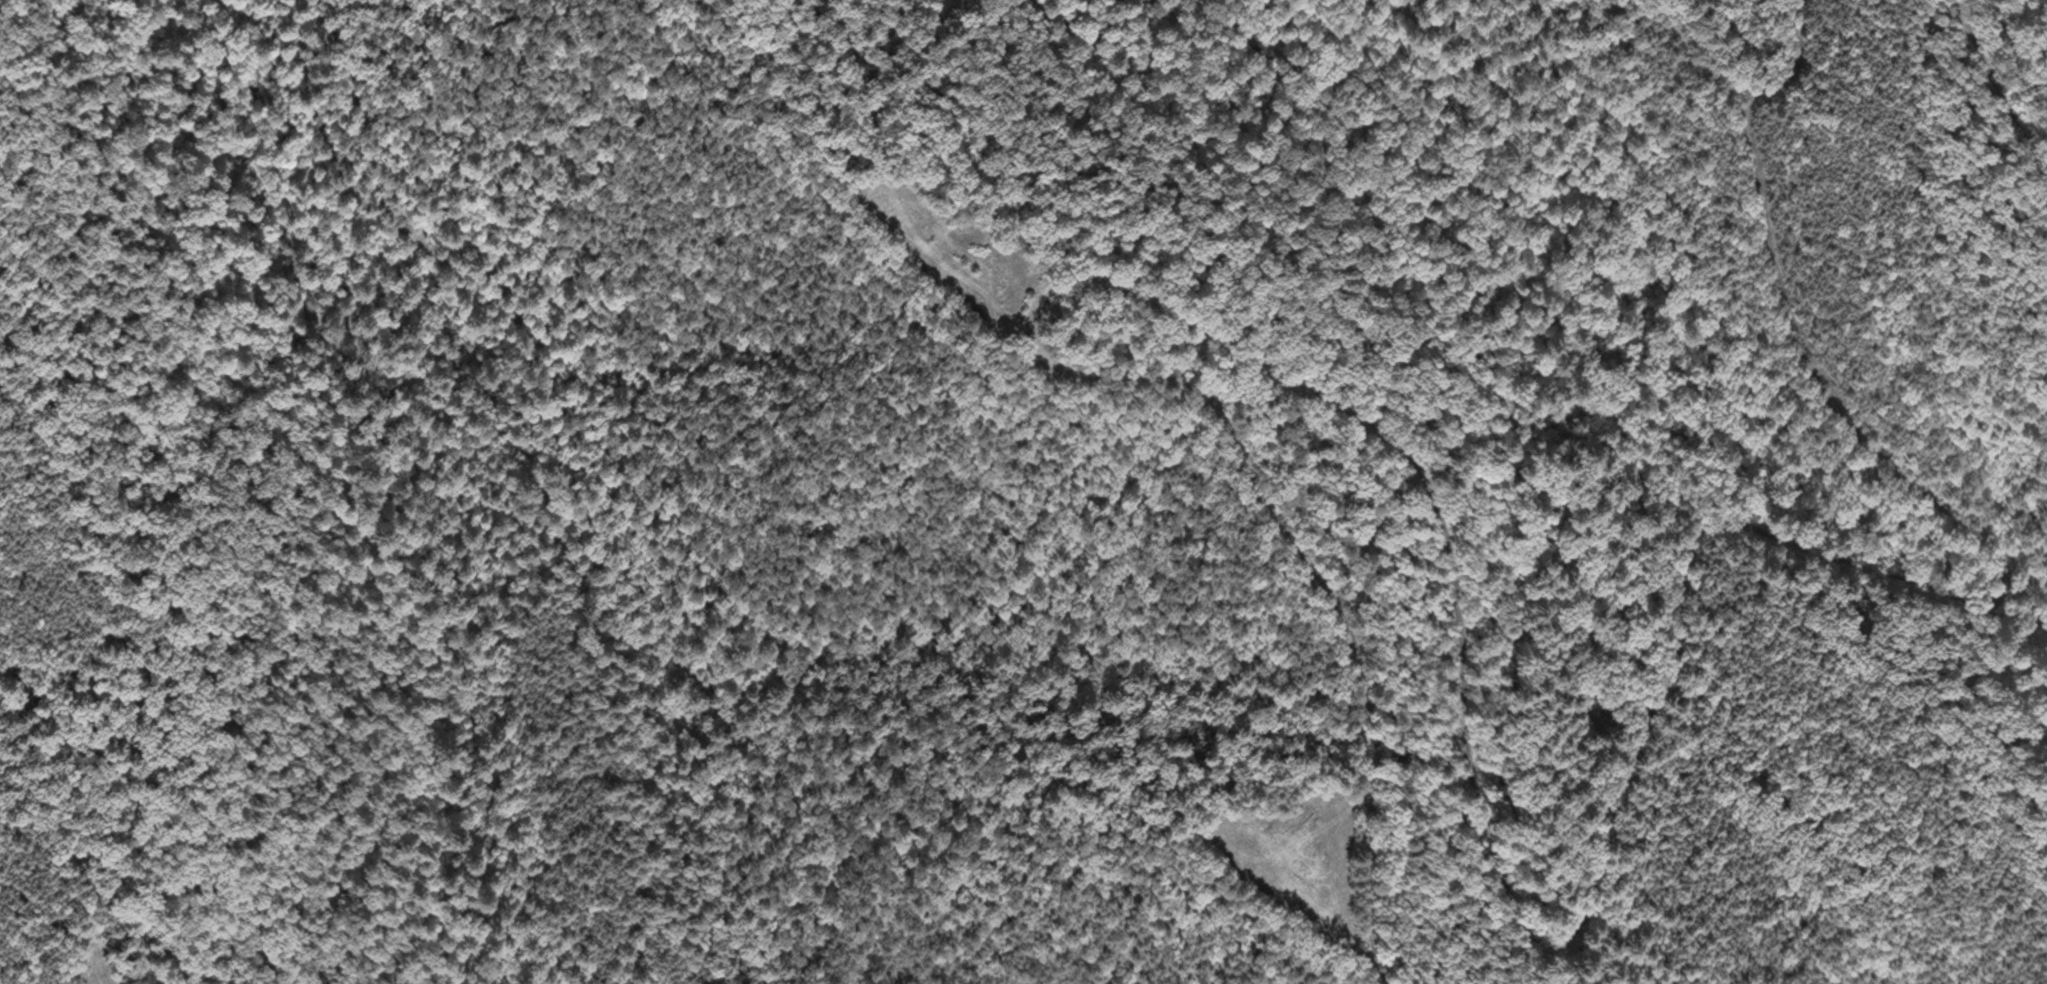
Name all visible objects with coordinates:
road: (2004, 106)
road: (1487, 751)

